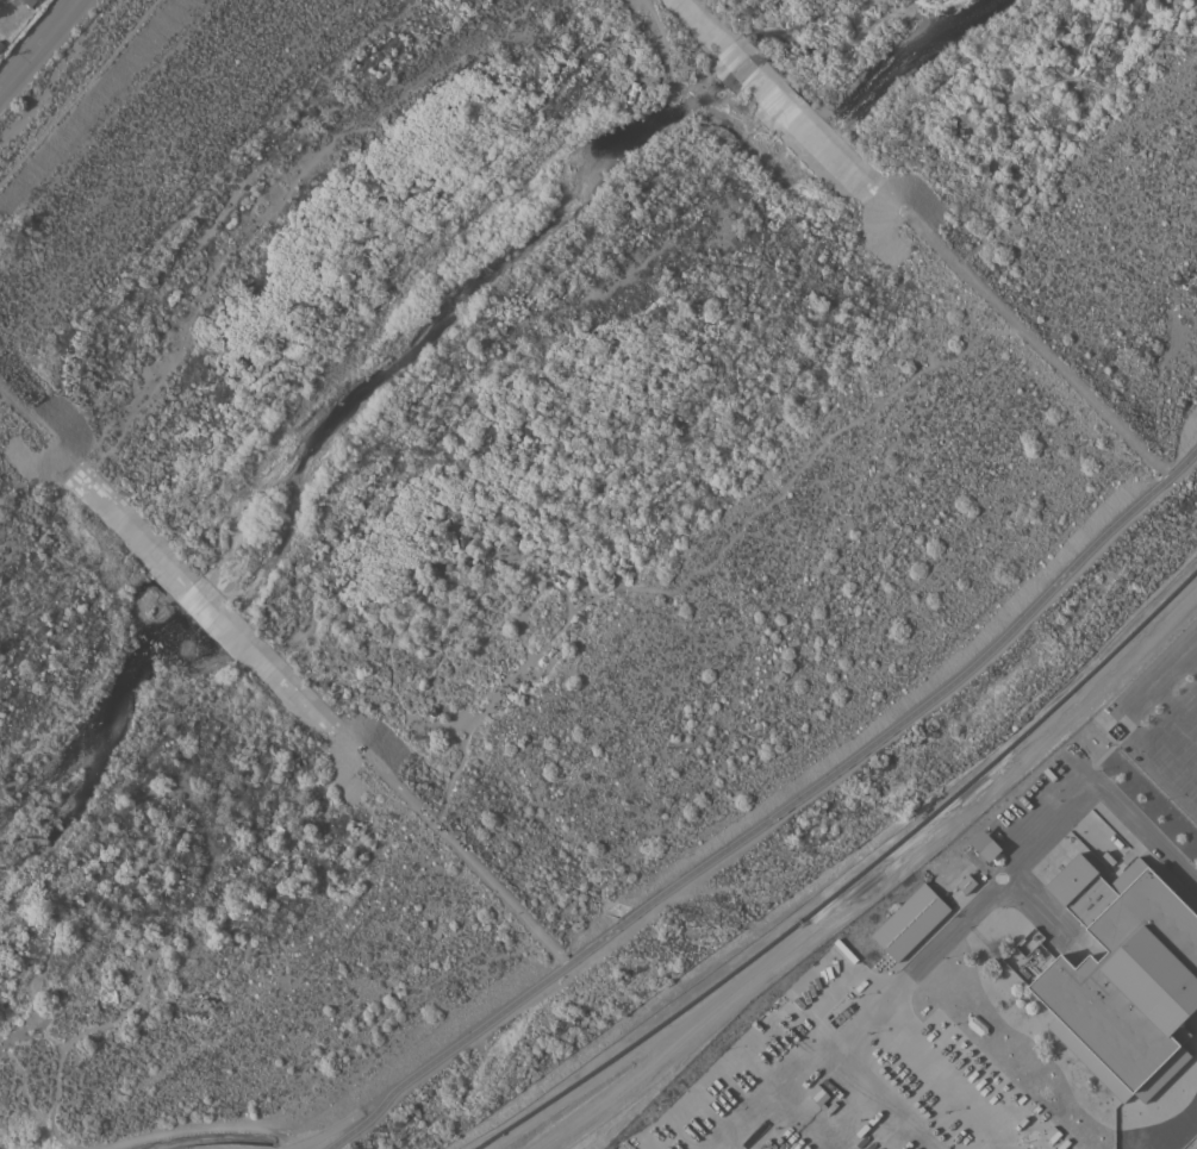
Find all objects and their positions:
building: (8, 0)
building: (30, 2)
road: (39, 45)
road: (77, 90)
river: (423, 305)
road: (1191, 657)
road: (1173, 708)
road: (1123, 713)
parking lot: (1165, 718)
road: (773, 812)
building: (985, 844)
building: (966, 883)
building: (910, 922)
road: (959, 922)
building: (1025, 956)
building: (1123, 976)
building: (1162, 1123)
parking lot: (1195, 1147)

